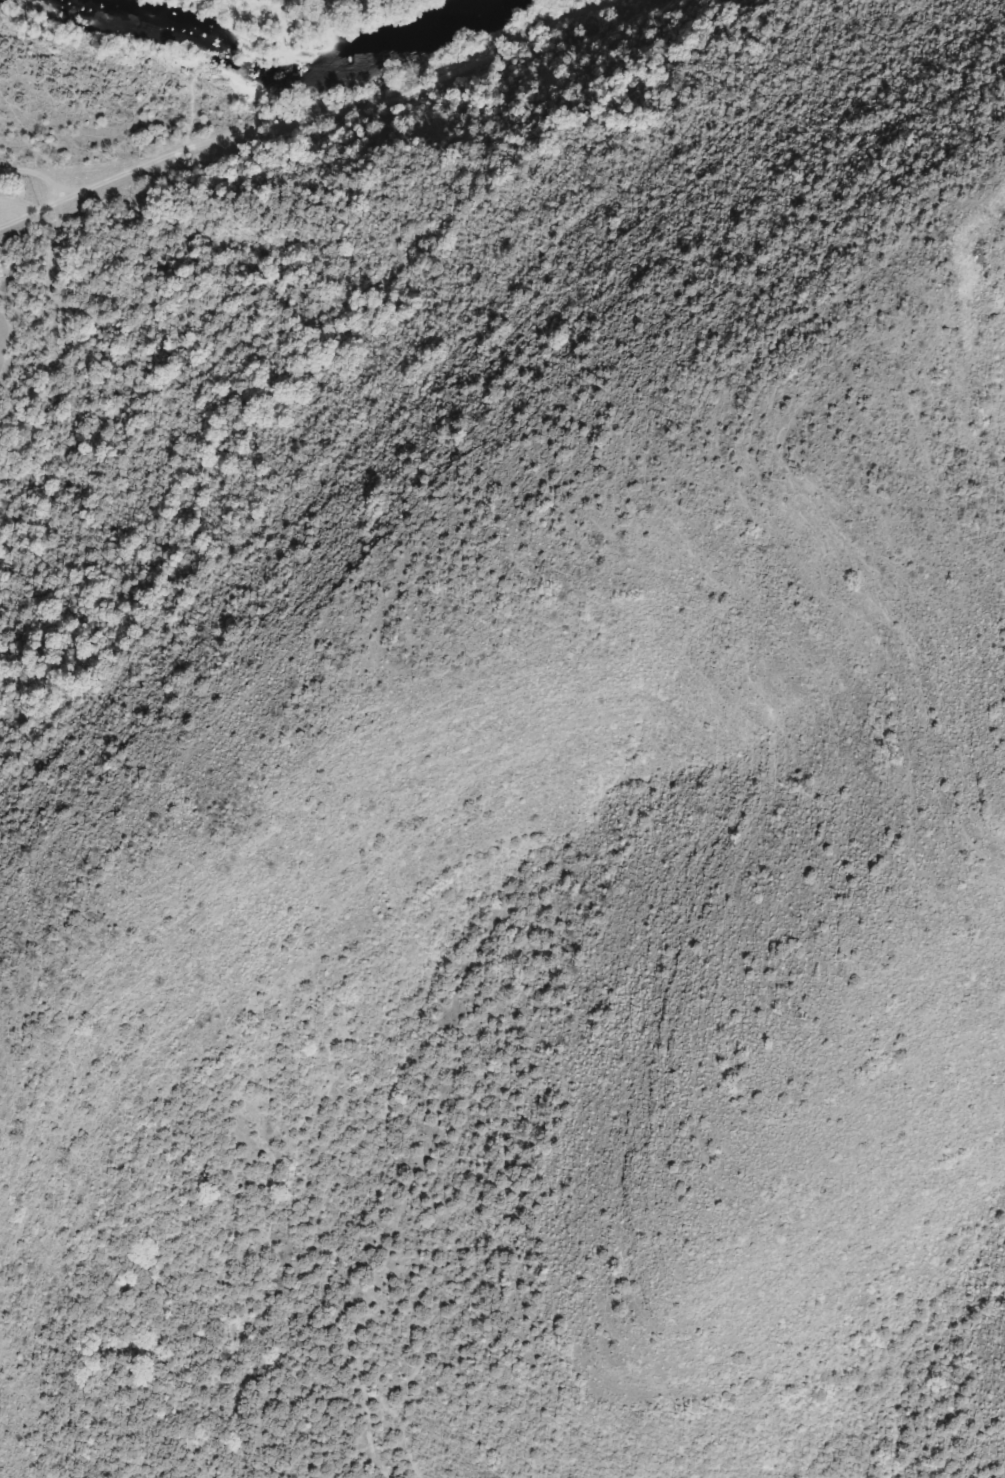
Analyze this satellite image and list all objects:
river: (263, 53)

